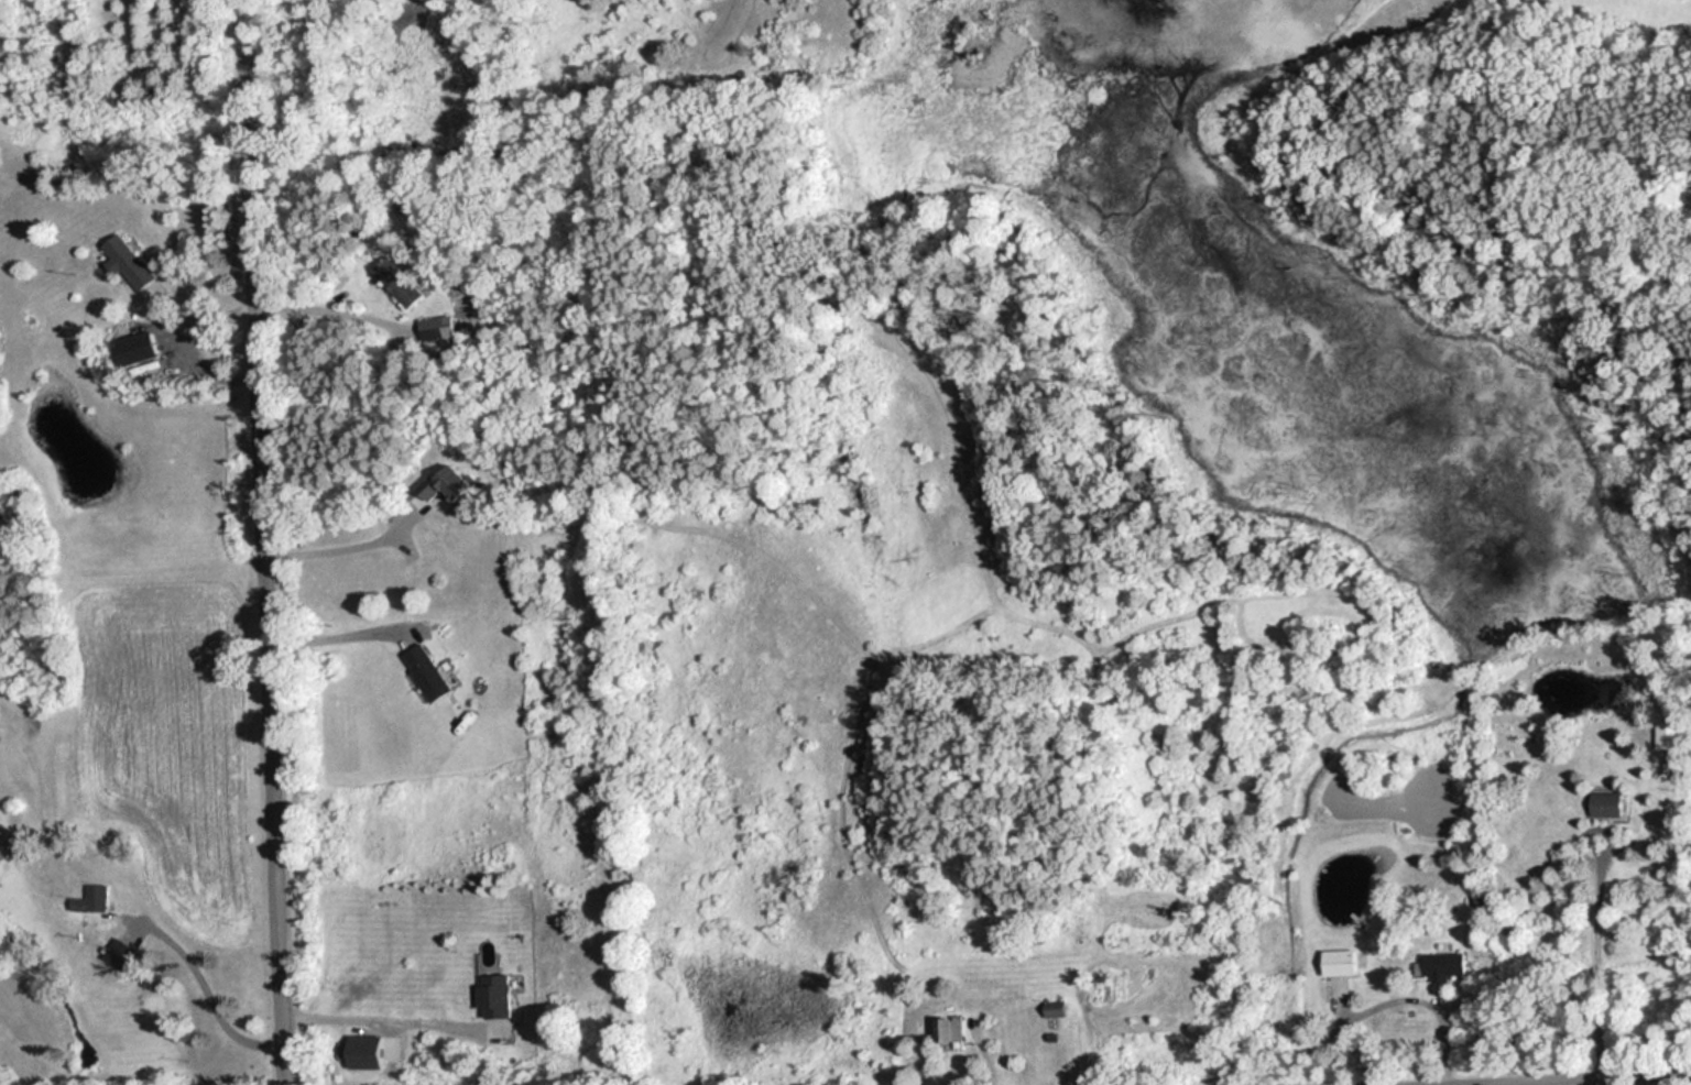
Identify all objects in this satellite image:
building: (133, 261)
building: (403, 281)
road: (313, 304)
building: (438, 327)
road: (187, 338)
building: (144, 347)
building: (454, 483)
road: (265, 541)
road: (348, 545)
road: (338, 634)
building: (432, 670)
building: (1670, 734)
building: (1612, 803)
building: (2, 852)
building: (97, 898)
building: (124, 951)
building: (1342, 961)
building: (1447, 963)
road: (1597, 963)
building: (1116, 986)
road: (210, 994)
building: (501, 995)
road: (1379, 998)
building: (1060, 1008)
road: (389, 1017)
building: (958, 1028)
road: (1540, 1078)

